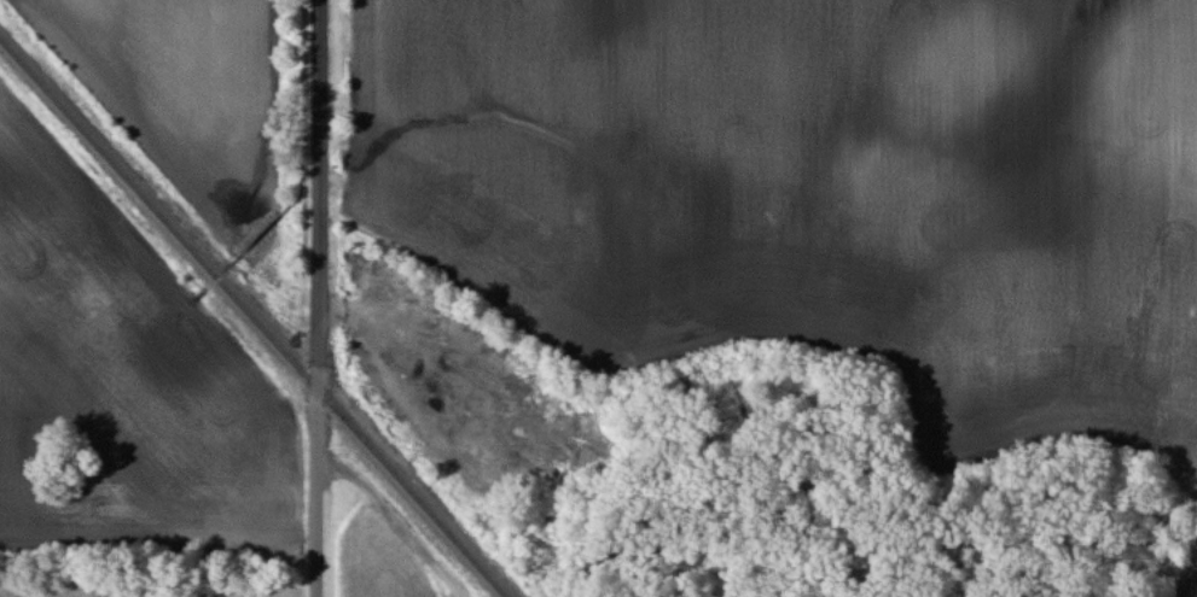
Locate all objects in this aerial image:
road: (318, 194)
railway: (252, 318)
road: (315, 492)
road: (1196, 573)
road: (1187, 584)

